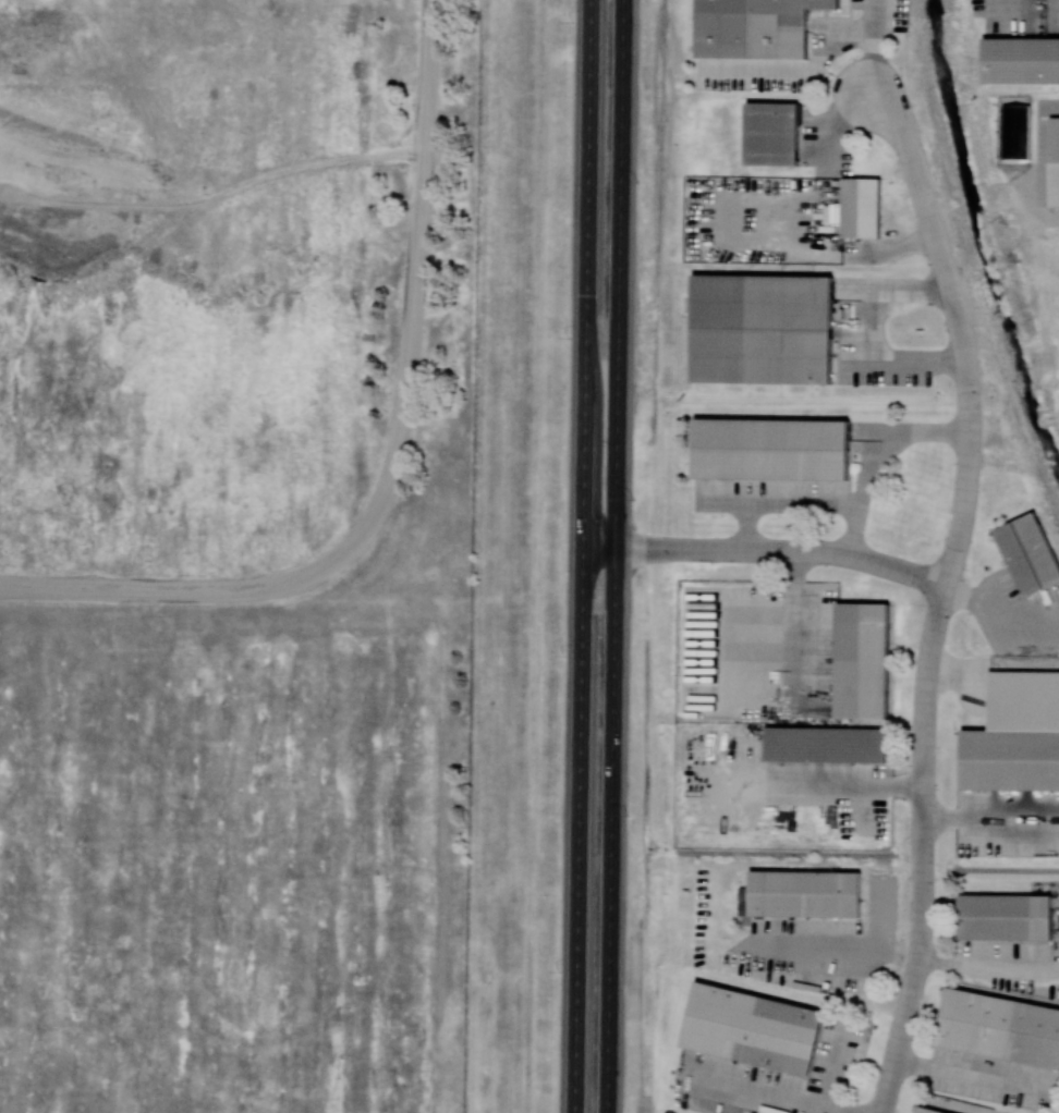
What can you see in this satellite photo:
building: (752, 26)
road: (875, 46)
building: (1021, 61)
road: (800, 69)
building: (771, 125)
building: (1018, 133)
road: (1039, 162)
building: (1056, 162)
building: (861, 208)
road: (892, 253)
building: (760, 320)
road: (959, 328)
road: (872, 334)
building: (770, 439)
road: (393, 458)
road: (878, 461)
road: (776, 499)
road: (767, 551)
landfill: (276, 553)
building: (1030, 553)
road: (582, 556)
road: (614, 556)
building: (863, 651)
building: (825, 737)
building: (1010, 760)
road: (814, 786)
road: (991, 817)
road: (924, 849)
building: (805, 888)
building: (1007, 914)
road: (840, 951)
road: (988, 967)
building: (1000, 1025)
building: (754, 1027)
road: (835, 1067)
road: (772, 1097)
building: (925, 1111)

